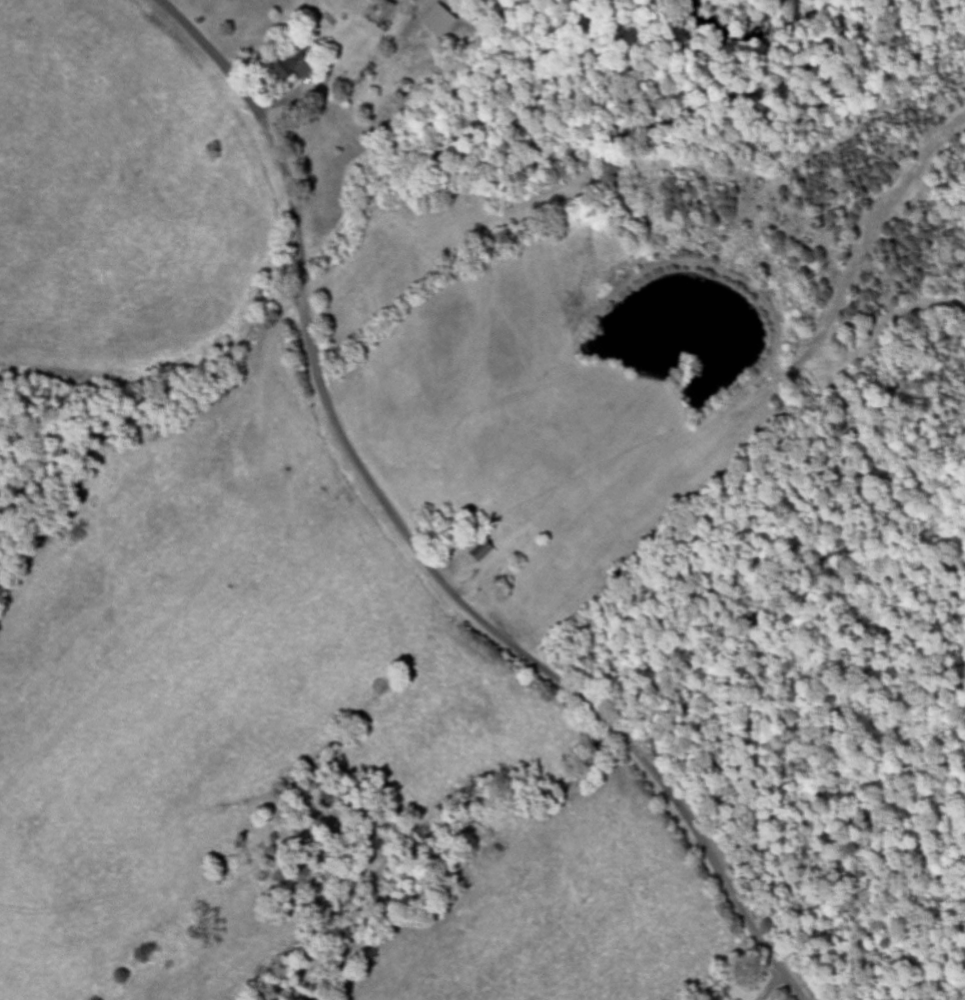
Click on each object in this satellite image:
building: (437, 24)
road: (413, 539)
building: (481, 555)

